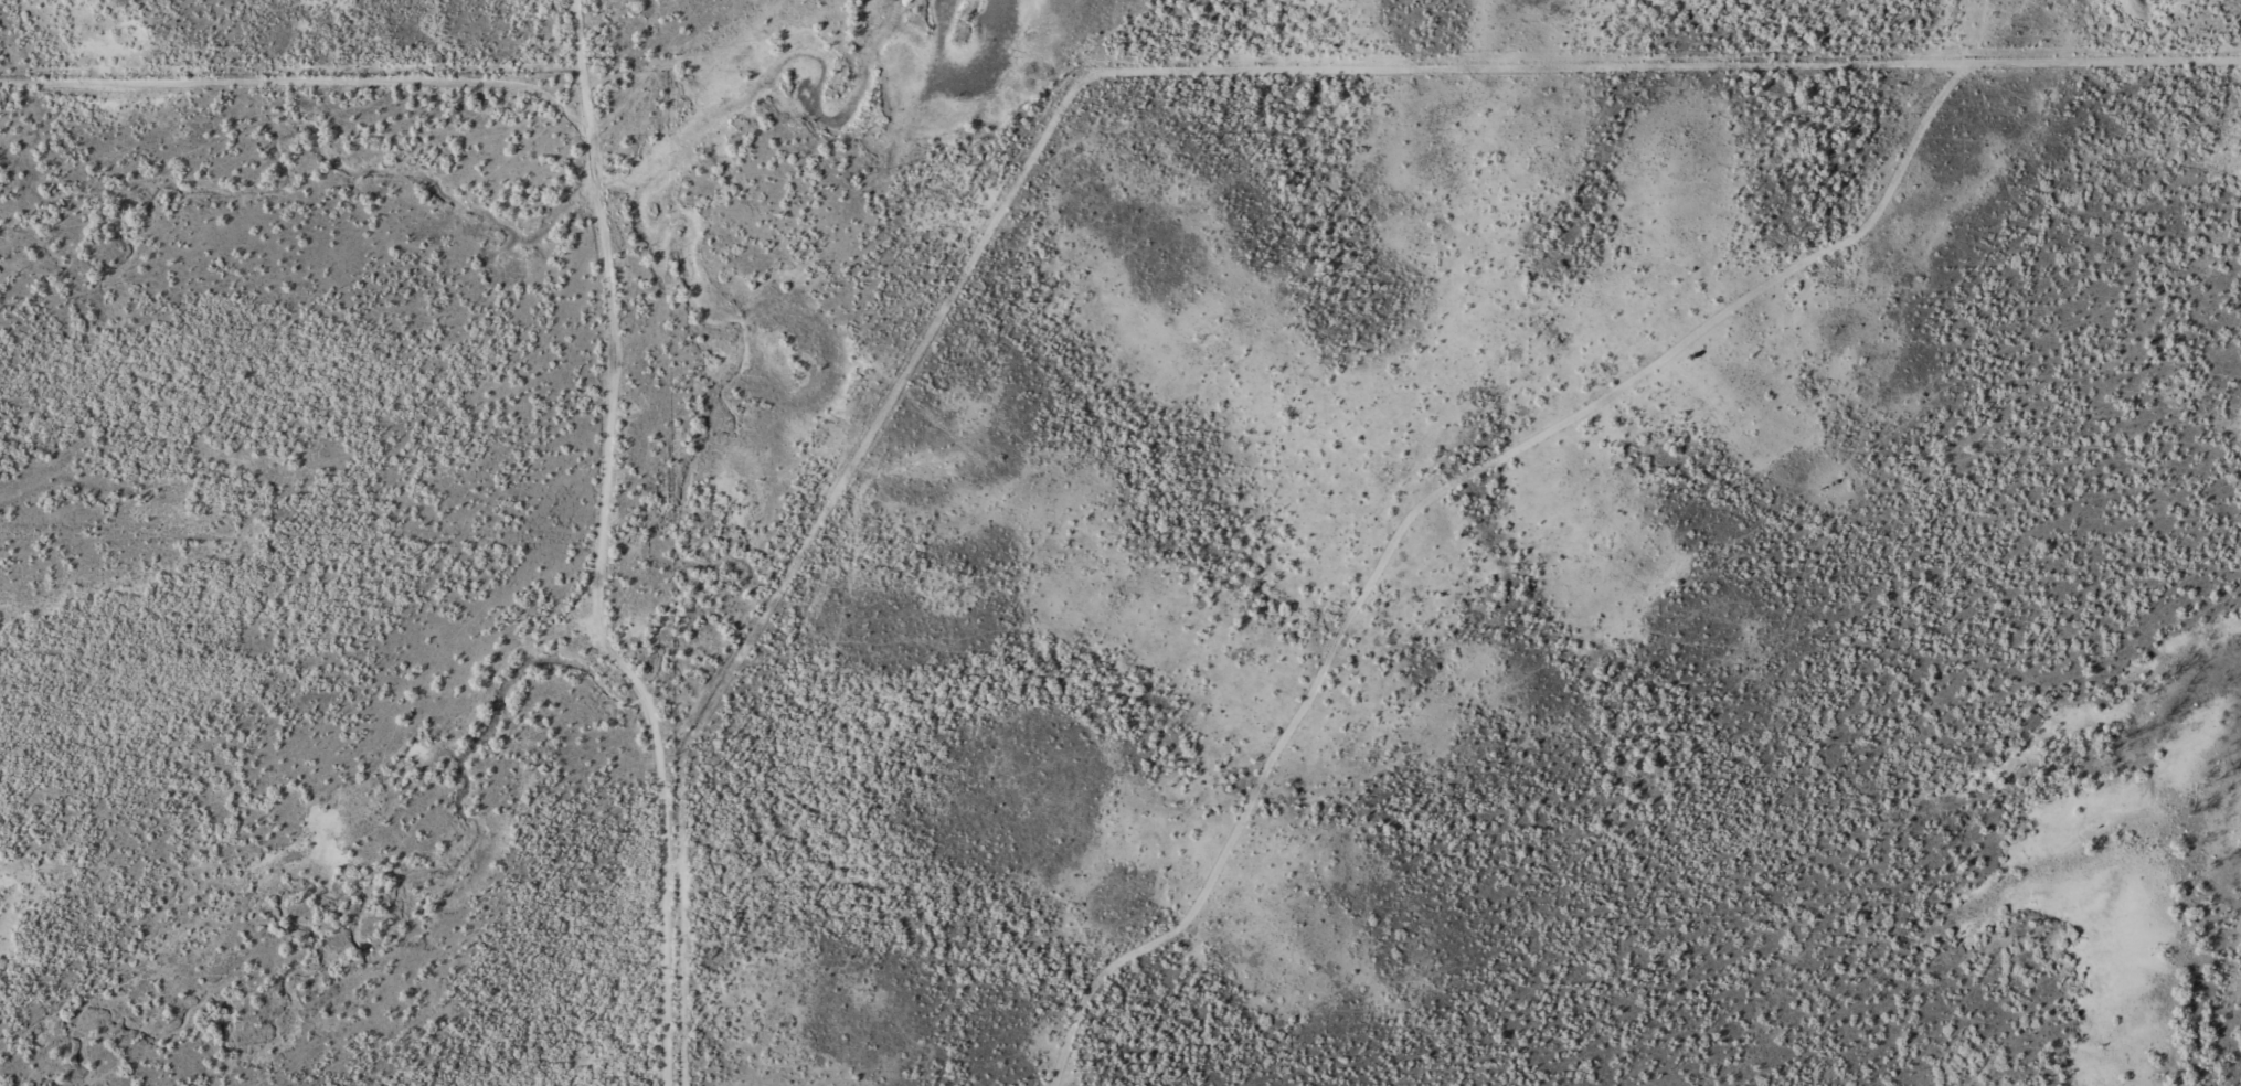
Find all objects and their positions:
road: (577, 315)
road: (1476, 487)

